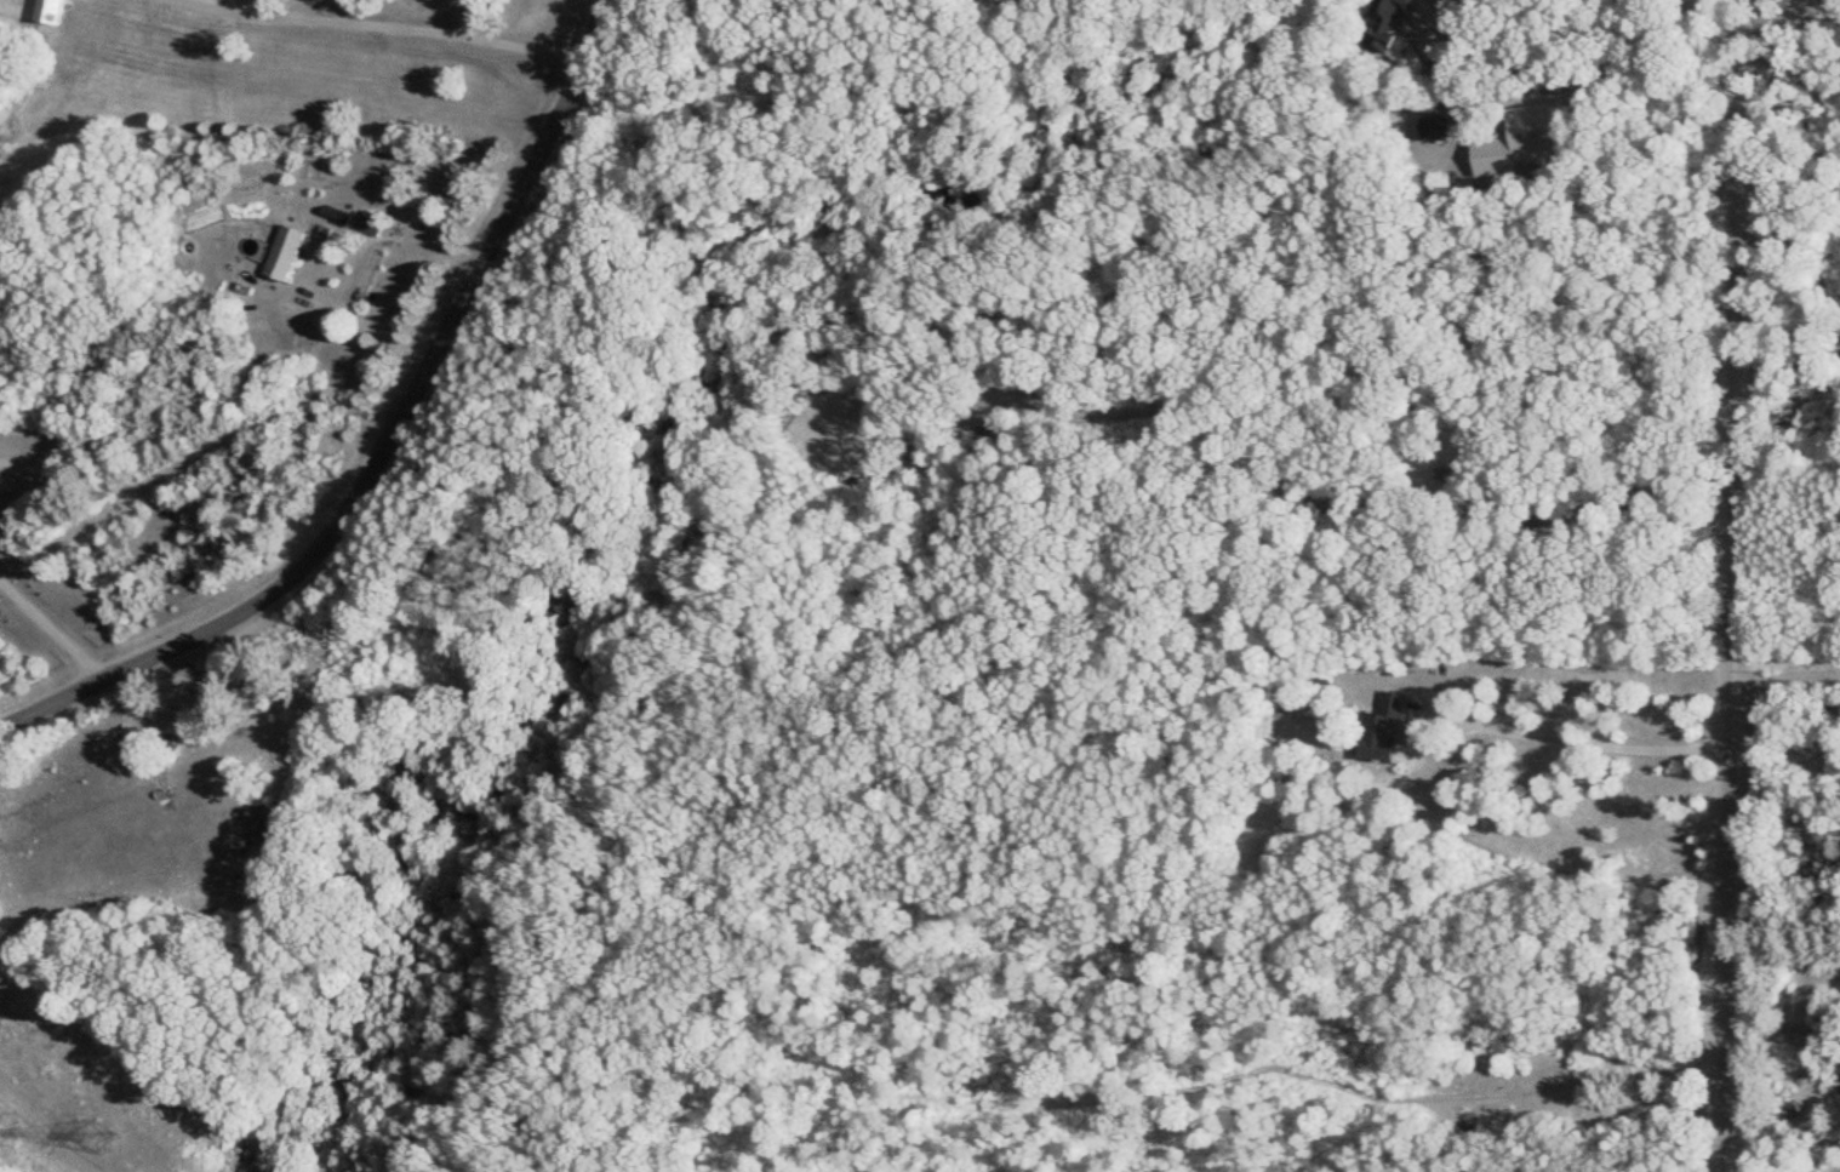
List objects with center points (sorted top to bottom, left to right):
road: (392, 27)
building: (367, 224)
building: (281, 255)
road: (370, 322)
road: (387, 442)
road: (1720, 585)
road: (51, 623)
road: (1573, 737)
road: (1777, 1046)
power tower: (97, 1130)

